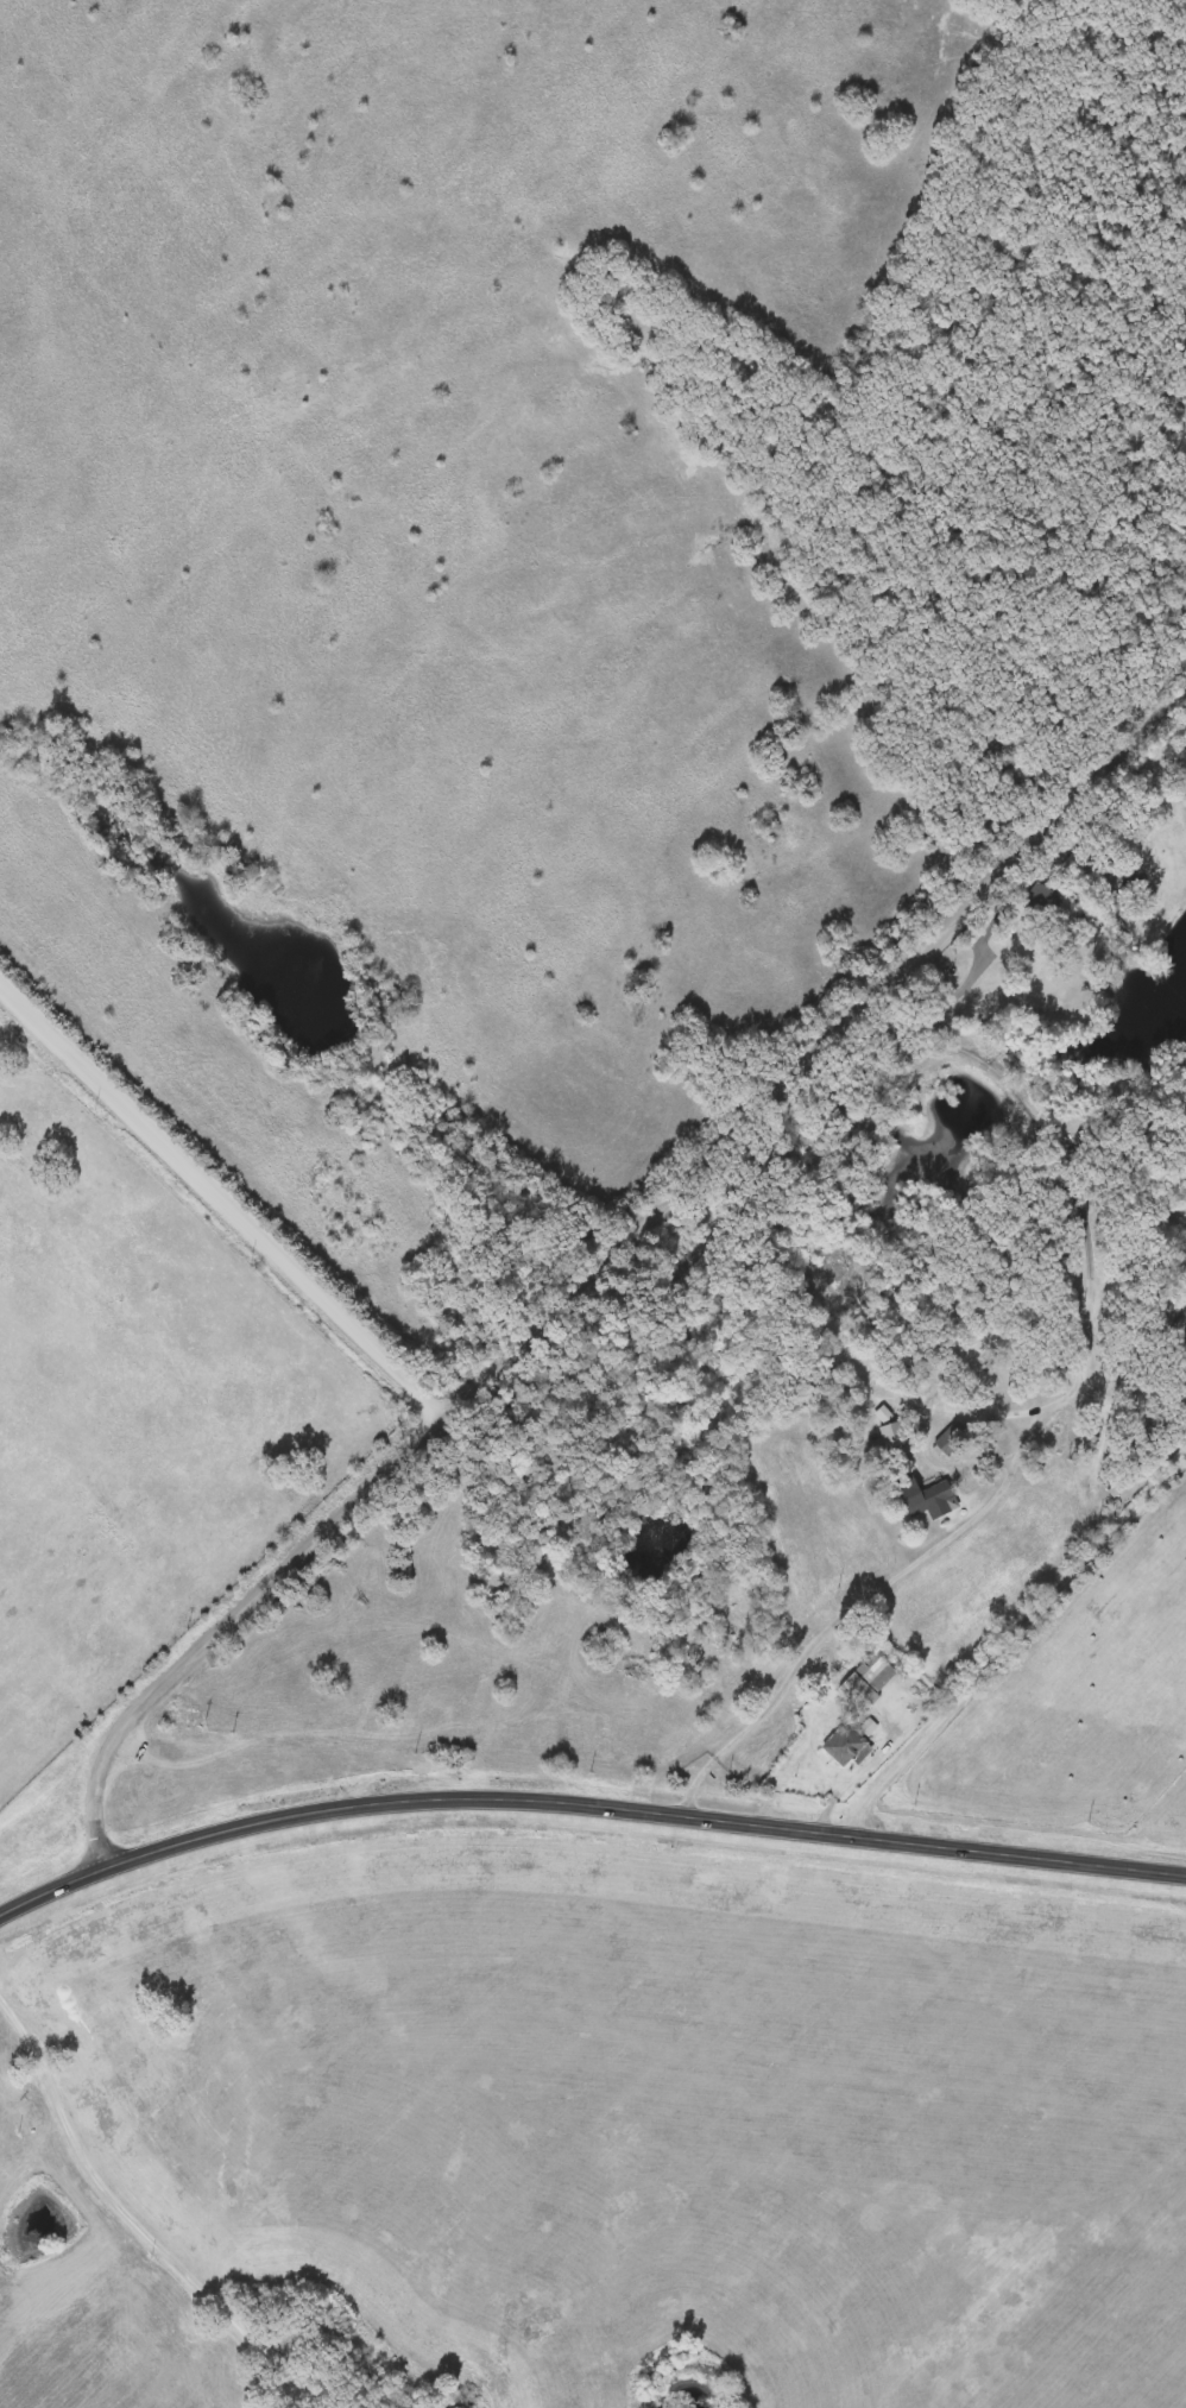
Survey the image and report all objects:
road: (810, 1052)
building: (761, 1185)
road: (222, 1200)
road: (1146, 1312)
building: (985, 1338)
road: (1037, 1418)
building: (1125, 1482)
building: (923, 1499)
road: (227, 1624)
road: (1007, 1638)
building: (868, 1682)
building: (847, 1745)
road: (585, 1801)
road: (138, 2221)
road: (272, 2378)

